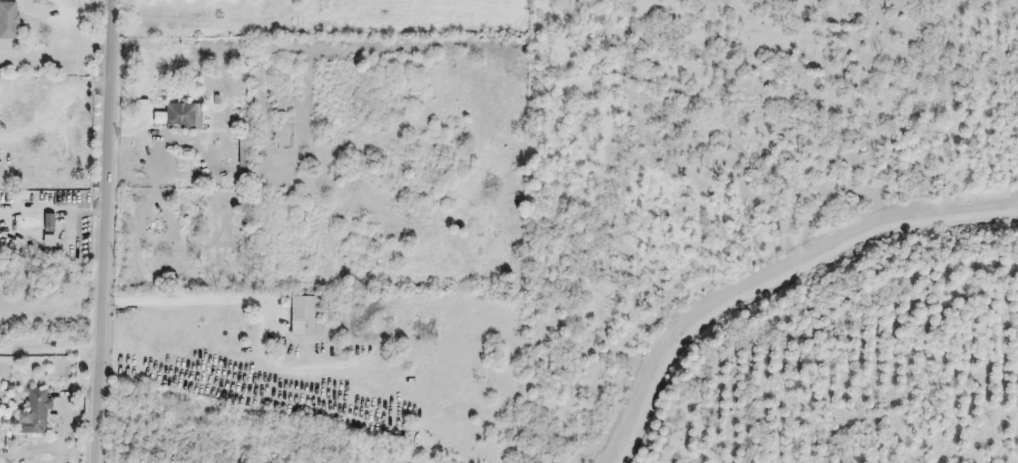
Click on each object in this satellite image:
building: (9, 20)
building: (177, 116)
building: (243, 151)
building: (49, 230)
road: (106, 231)
building: (302, 315)
building: (35, 413)

